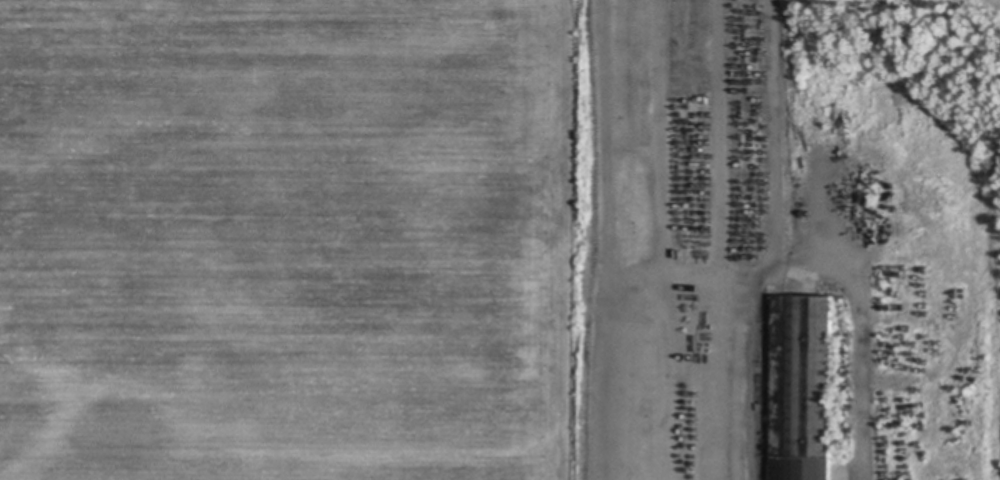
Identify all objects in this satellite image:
road: (670, 139)
road: (730, 141)
road: (782, 153)
road: (613, 199)
road: (869, 335)
road: (742, 381)
building: (803, 389)

